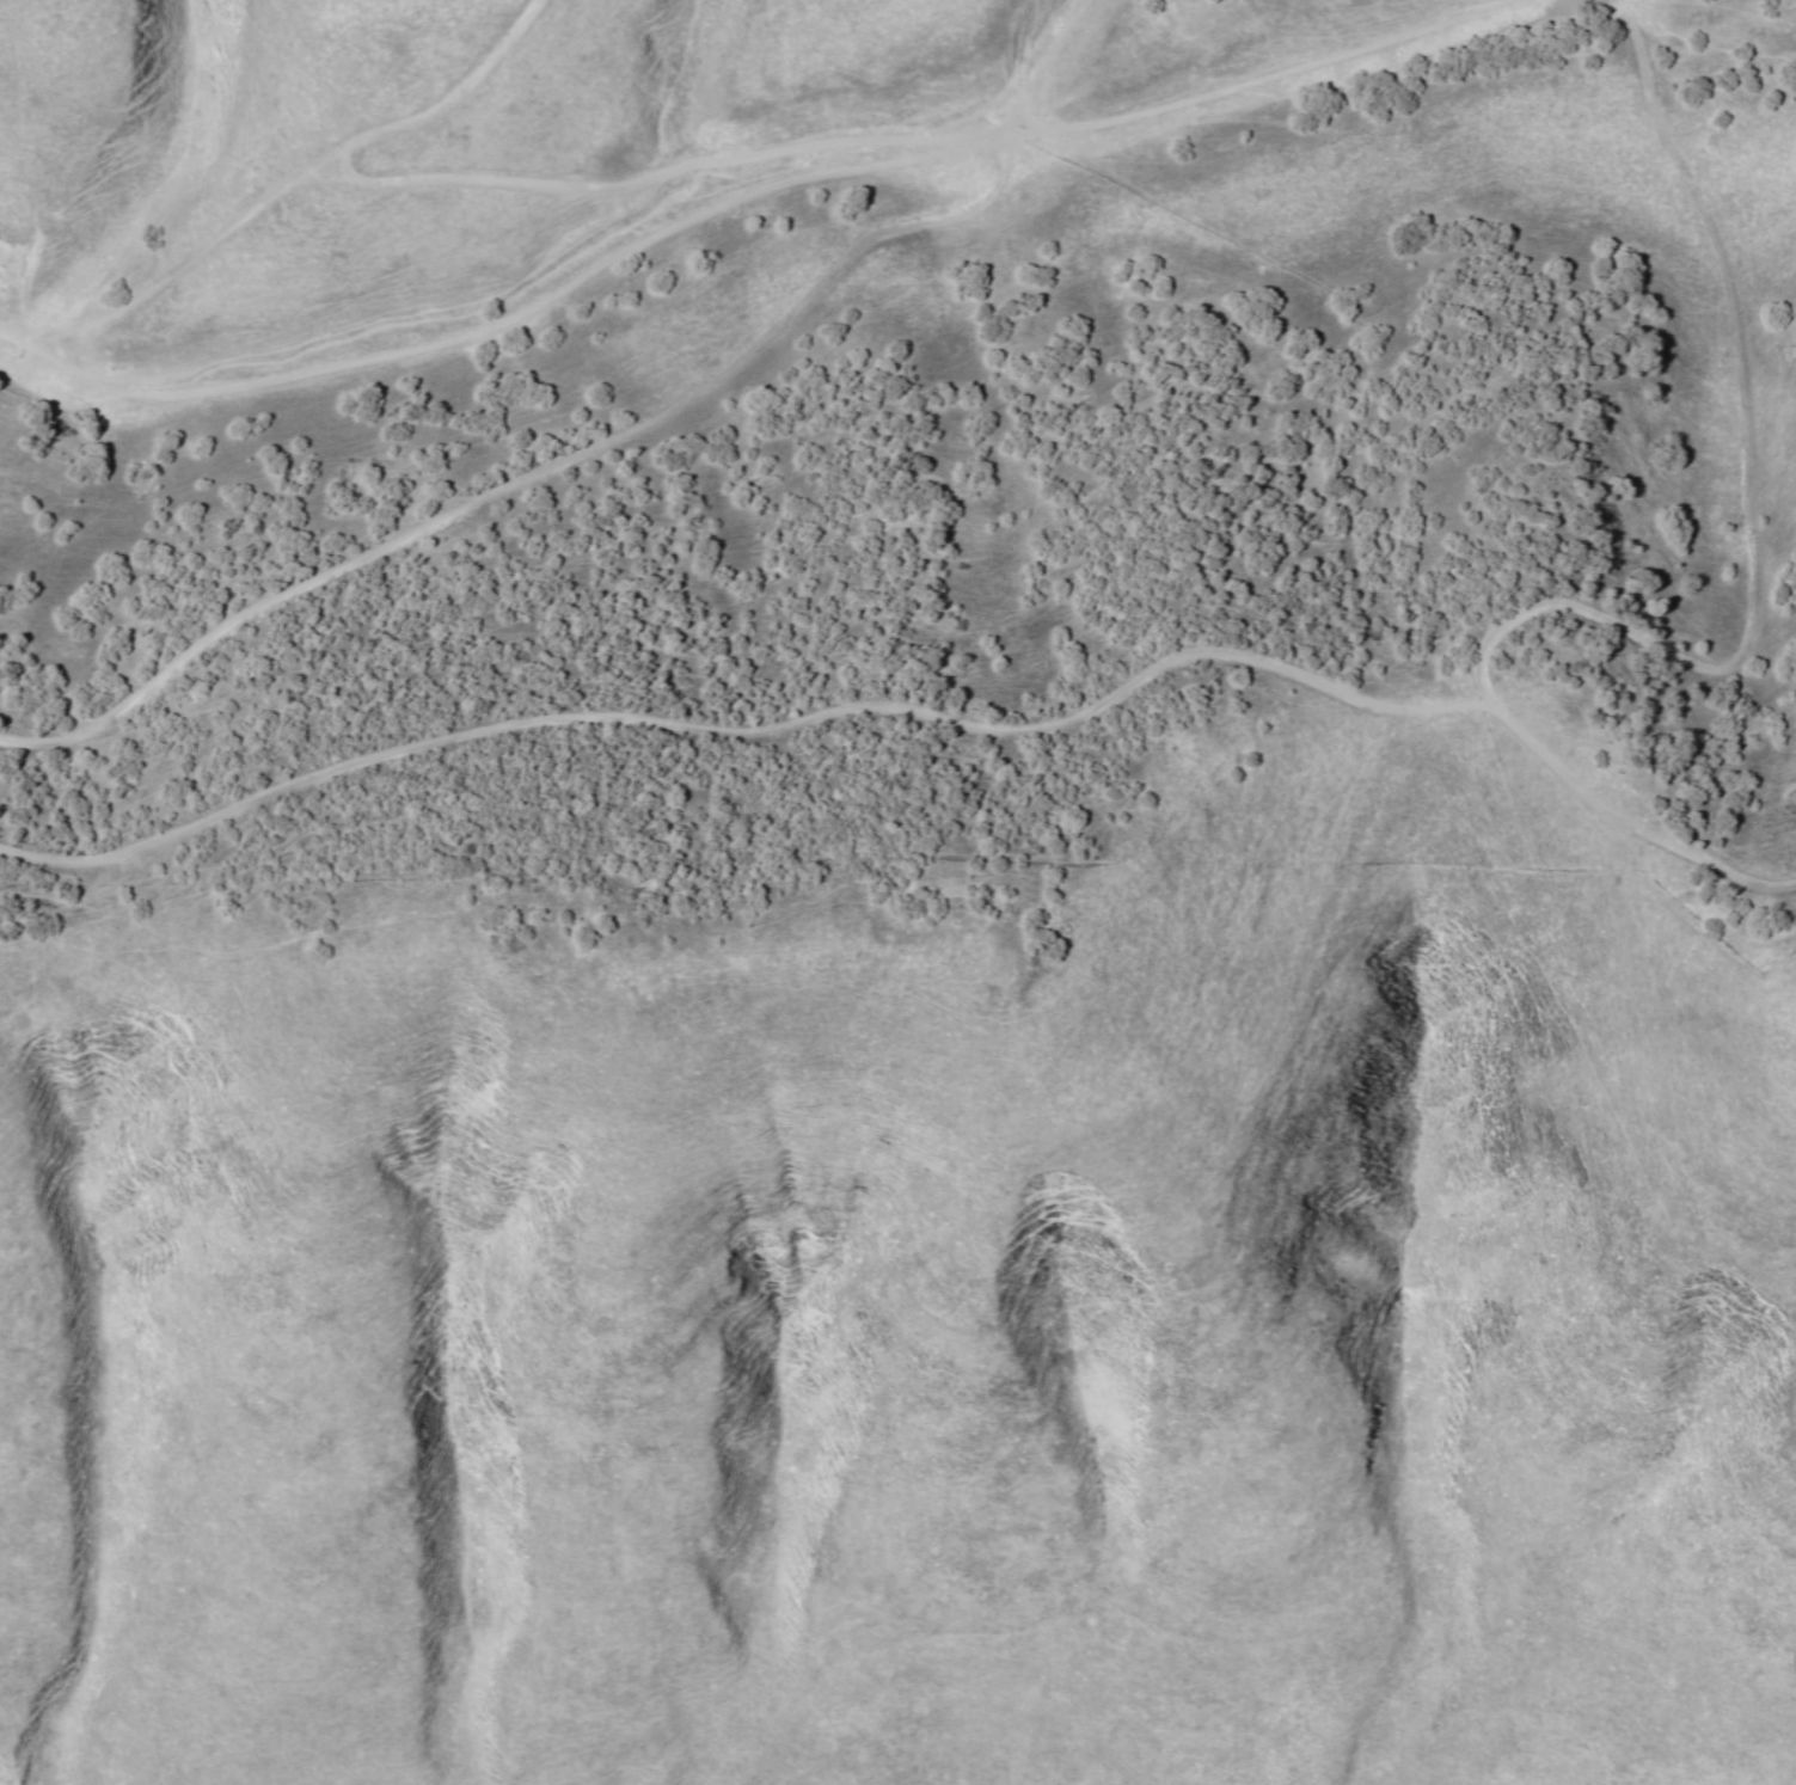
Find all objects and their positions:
road: (694, 220)
road: (767, 361)
road: (363, 363)

